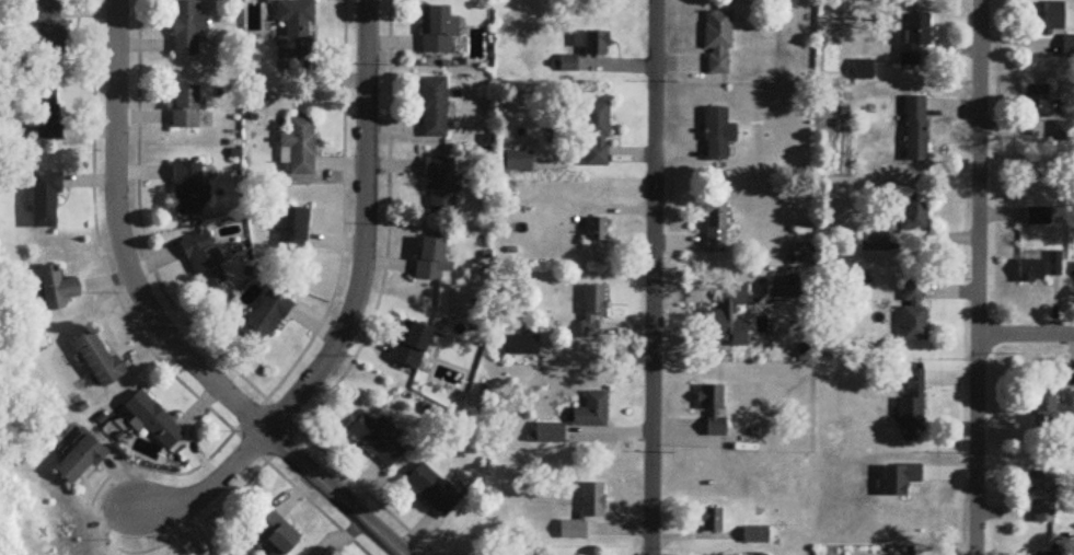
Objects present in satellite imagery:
building: (1046, 18)
building: (187, 28)
building: (49, 30)
building: (436, 31)
building: (296, 32)
building: (914, 39)
building: (590, 45)
building: (717, 45)
building: (1069, 48)
building: (863, 71)
building: (1041, 104)
building: (434, 108)
building: (185, 109)
building: (47, 116)
building: (915, 130)
building: (717, 135)
building: (596, 136)
building: (299, 148)
building: (518, 163)
building: (440, 186)
building: (189, 190)
building: (46, 203)
building: (913, 216)
building: (1037, 217)
road: (385, 227)
building: (293, 229)
building: (715, 229)
building: (597, 231)
road: (143, 243)
building: (873, 243)
building: (431, 261)
road: (102, 262)
building: (205, 263)
building: (1039, 270)
road: (651, 277)
road: (980, 277)
building: (783, 289)
building: (57, 290)
road: (349, 305)
building: (592, 311)
building: (913, 315)
road: (321, 319)
building: (266, 320)
building: (726, 321)
road: (159, 323)
road: (1026, 337)
building: (412, 345)
building: (522, 347)
building: (97, 360)
building: (912, 406)
building: (713, 409)
building: (1052, 413)
building: (592, 414)
building: (154, 421)
building: (543, 436)
building: (378, 440)
road: (280, 446)
building: (80, 463)
building: (432, 490)
road: (365, 492)
building: (1043, 499)
building: (592, 504)
road: (315, 508)
building: (711, 522)
road: (198, 524)
building: (278, 535)
building: (755, 537)
building: (1035, 554)

